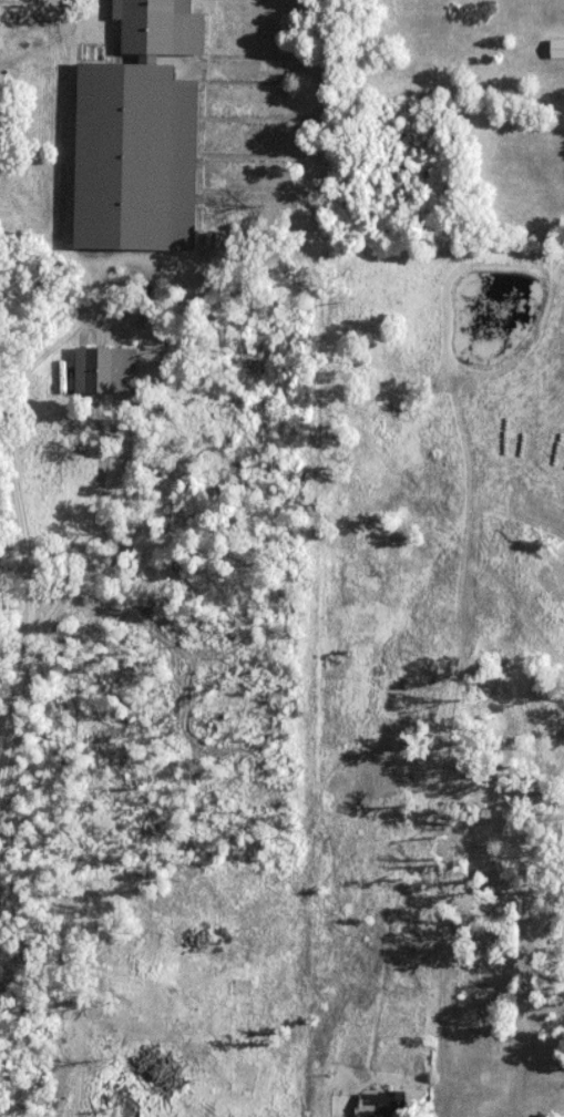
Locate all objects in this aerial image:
building: (139, 135)
building: (105, 370)
road: (100, 517)
building: (543, 801)
road: (72, 963)
building: (240, 987)
road: (73, 1070)
building: (252, 1079)
building: (367, 1105)

